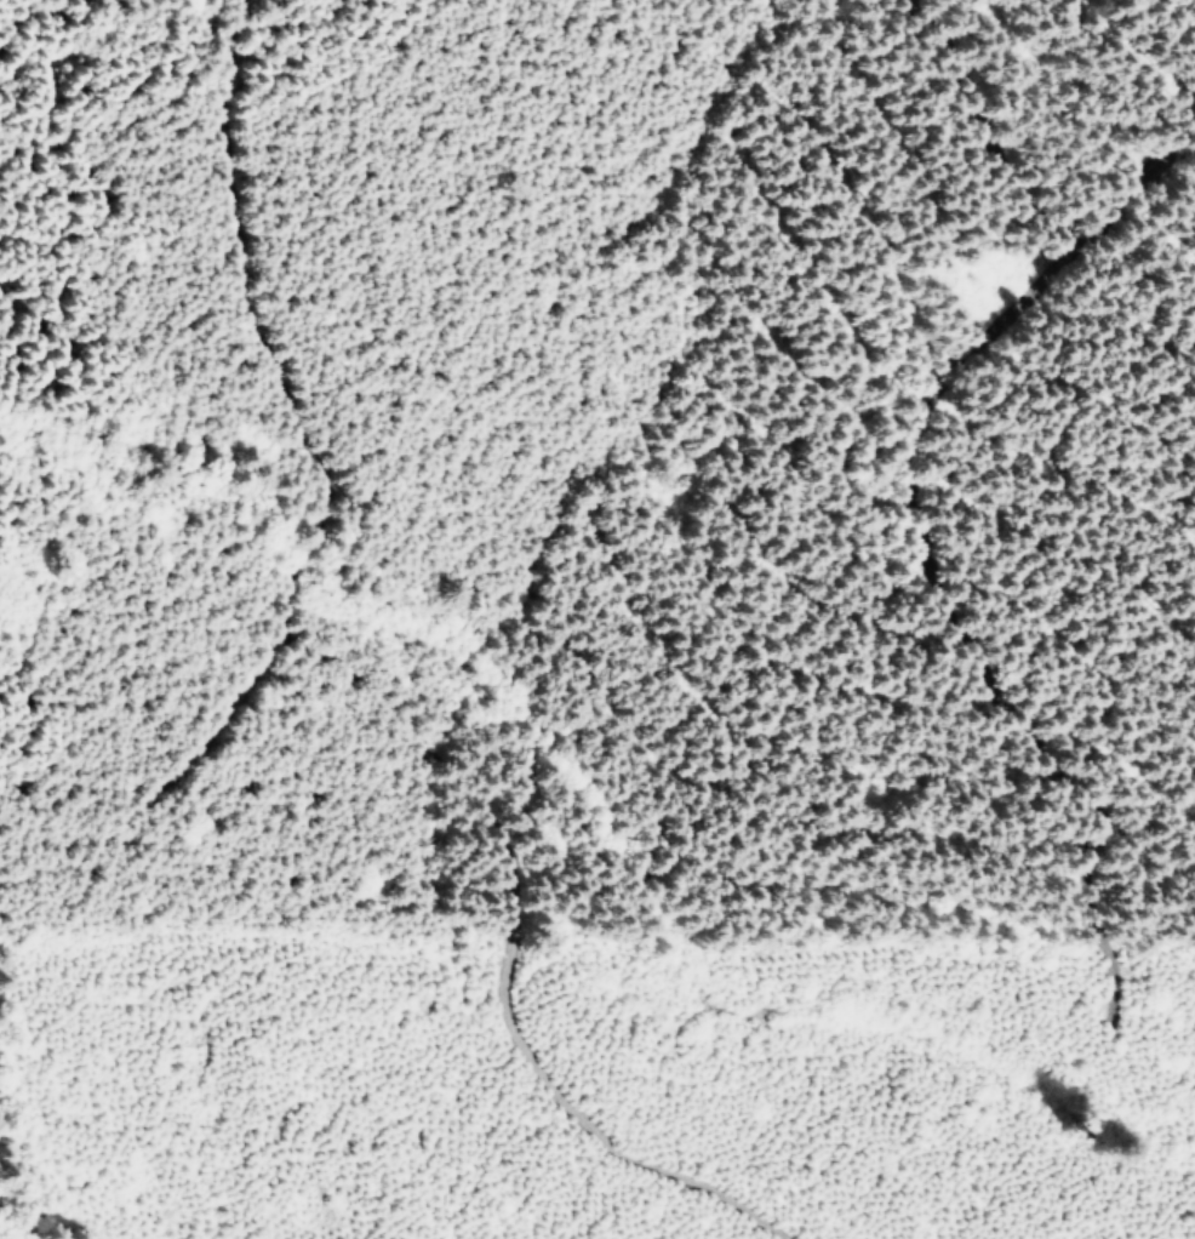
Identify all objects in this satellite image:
road: (1036, 171)
road: (371, 681)

